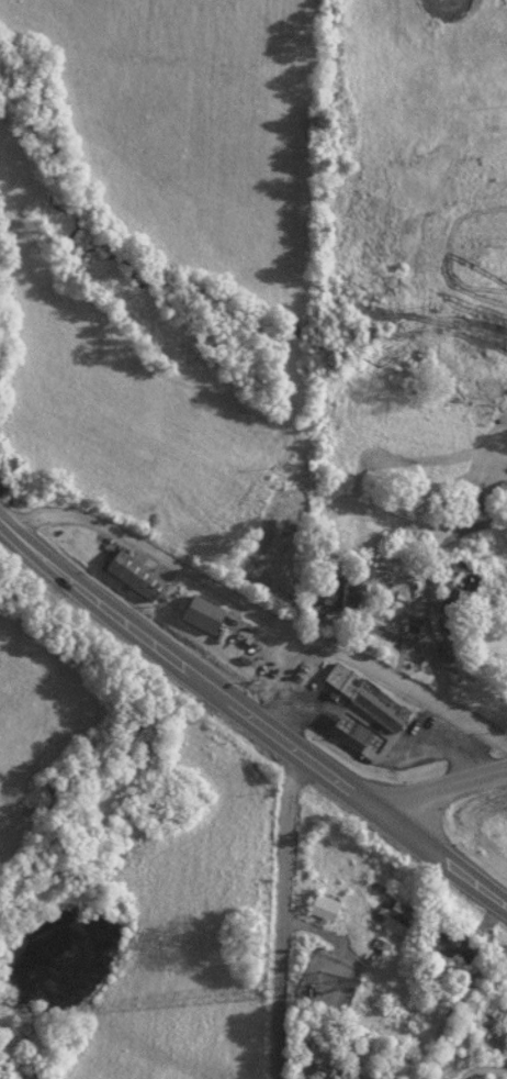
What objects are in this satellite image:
building: (132, 575)
building: (457, 586)
building: (331, 589)
road: (259, 612)
building: (199, 613)
road: (185, 669)
road: (441, 790)
road: (442, 860)
building: (322, 906)
road: (279, 914)
building: (397, 914)
building: (450, 945)

